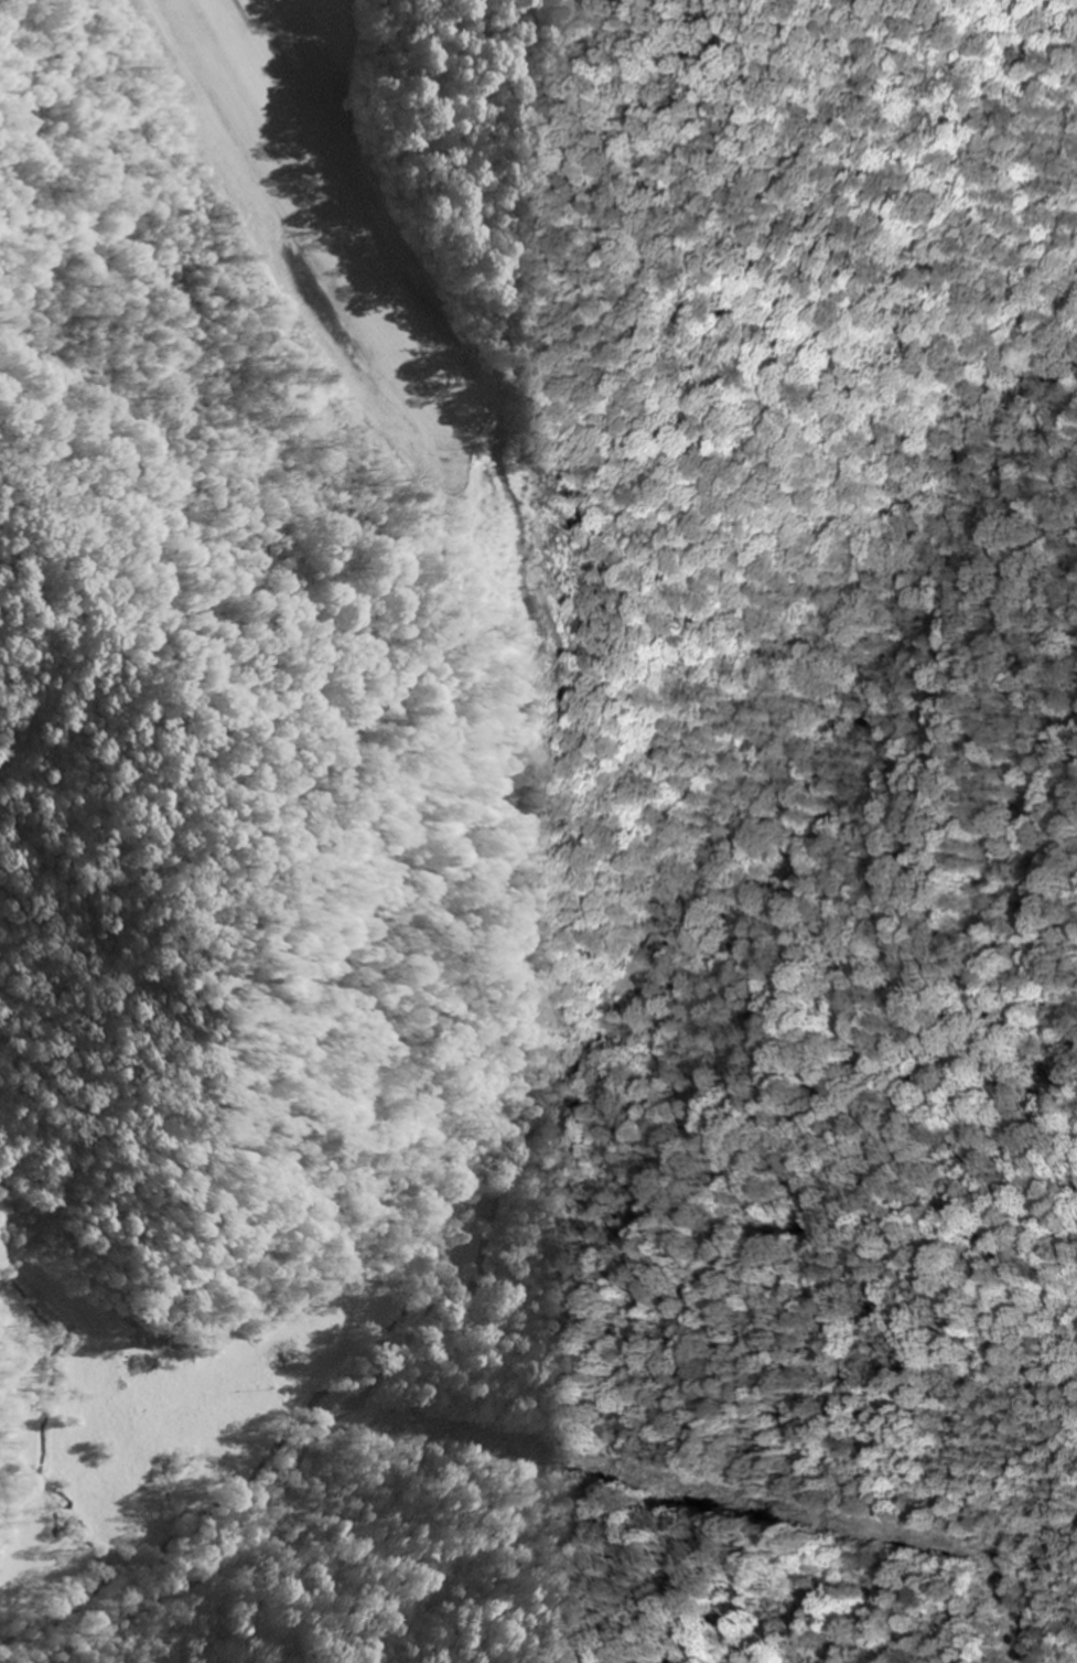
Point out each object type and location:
road: (661, 1083)

